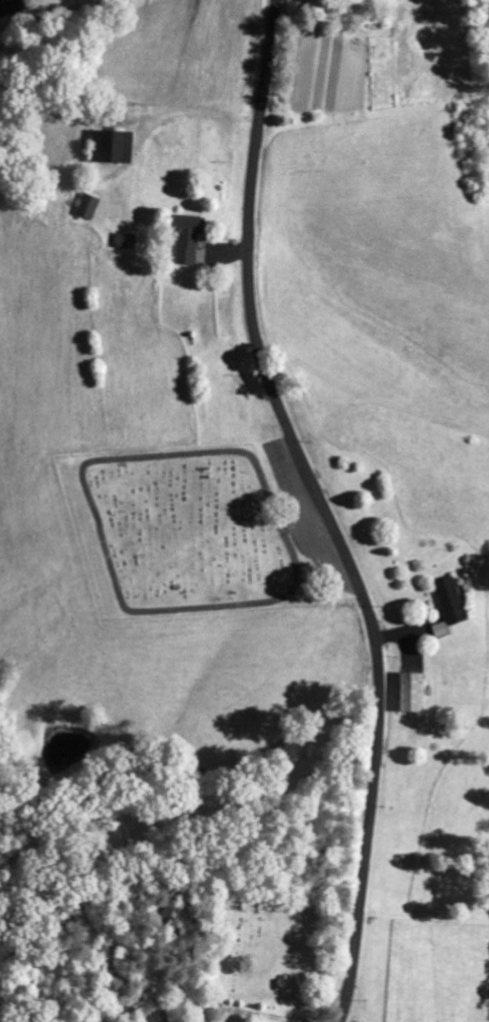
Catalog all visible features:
building: (110, 146)
building: (87, 206)
building: (183, 237)
building: (124, 240)
road: (324, 509)
park: (183, 533)
building: (448, 600)
building: (408, 692)
park: (267, 951)

